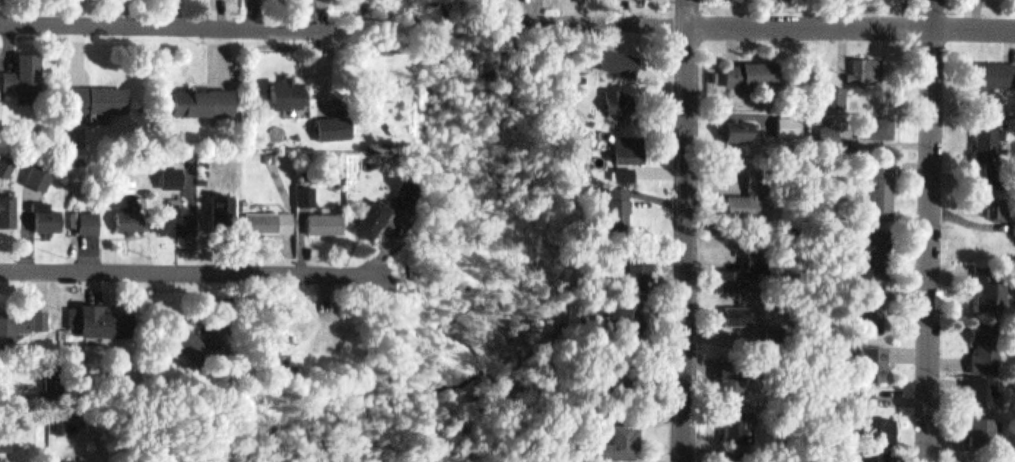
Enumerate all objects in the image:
building: (646, 0)
road: (406, 17)
road: (164, 24)
road: (770, 25)
road: (475, 32)
road: (513, 41)
building: (628, 60)
building: (993, 66)
building: (869, 67)
building: (30, 68)
building: (755, 70)
building: (716, 73)
building: (290, 94)
building: (99, 97)
building: (625, 100)
building: (199, 102)
building: (736, 124)
building: (880, 124)
building: (337, 125)
building: (832, 132)
building: (629, 146)
building: (993, 148)
building: (276, 155)
building: (7, 163)
building: (42, 171)
building: (623, 171)
building: (882, 185)
building: (409, 191)
building: (752, 191)
building: (311, 194)
building: (997, 200)
building: (617, 204)
building: (8, 211)
building: (222, 211)
building: (48, 216)
building: (130, 218)
building: (176, 218)
building: (374, 218)
building: (270, 219)
building: (90, 220)
building: (325, 221)
road: (693, 231)
road: (934, 231)
building: (881, 243)
building: (759, 258)
building: (637, 268)
road: (174, 272)
building: (733, 277)
building: (990, 280)
building: (873, 304)
building: (610, 307)
building: (738, 312)
building: (40, 313)
building: (626, 313)
building: (99, 320)
building: (13, 321)
building: (213, 336)
building: (983, 341)
building: (190, 345)
building: (874, 360)
building: (284, 361)
building: (622, 375)
building: (48, 379)
building: (981, 383)
building: (61, 422)
building: (983, 422)
building: (736, 424)
building: (8, 435)
building: (878, 436)
building: (619, 439)
building: (4, 457)
building: (82, 461)
building: (971, 461)

